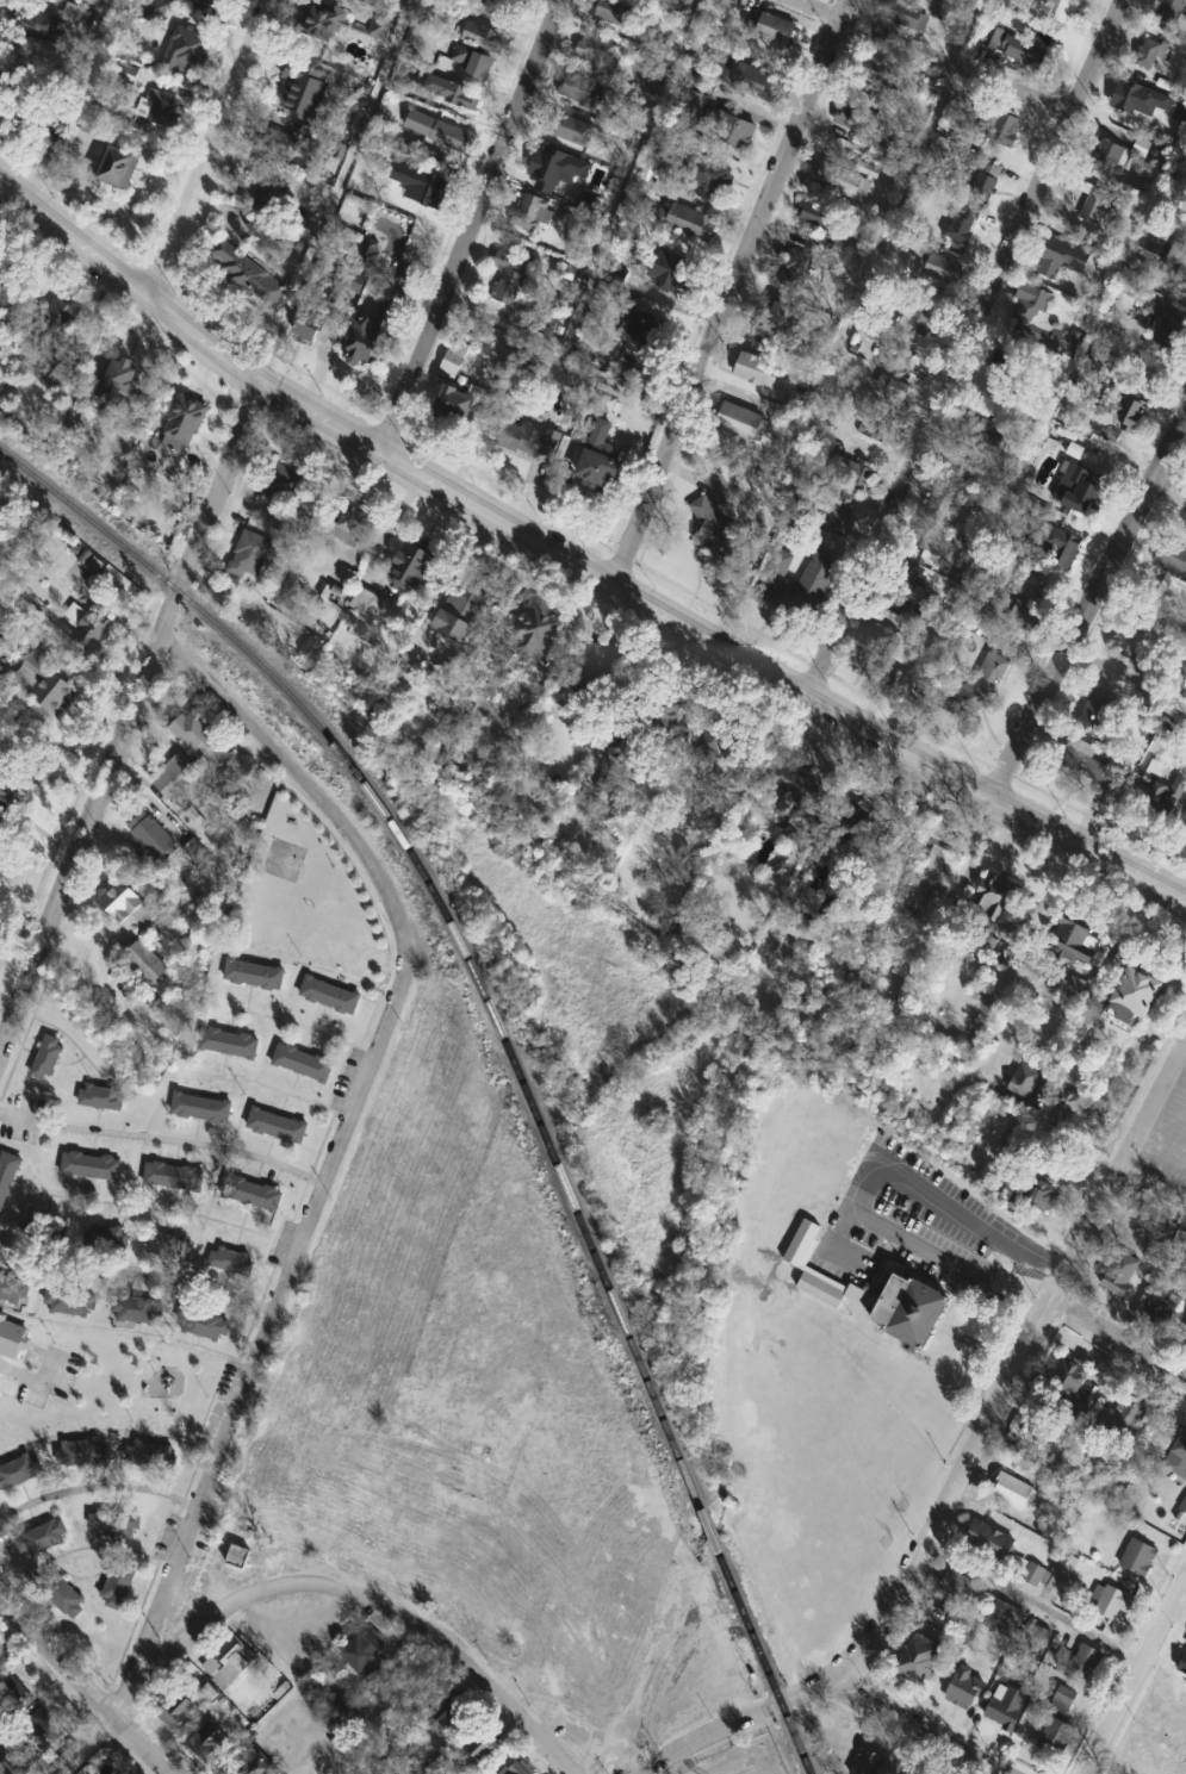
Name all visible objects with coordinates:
building: (735, 2)
building: (504, 5)
building: (211, 6)
building: (1172, 10)
building: (157, 11)
building: (1062, 11)
building: (613, 12)
building: (328, 23)
building: (48, 26)
building: (768, 33)
building: (484, 36)
building: (597, 50)
building: (190, 52)
road: (940, 52)
building: (1027, 54)
building: (1151, 54)
building: (472, 63)
building: (880, 73)
building: (753, 80)
building: (582, 91)
building: (453, 93)
building: (304, 94)
building: (1137, 97)
building: (166, 108)
building: (858, 119)
building: (725, 127)
building: (94, 129)
building: (570, 129)
building: (1005, 129)
building: (449, 136)
building: (275, 142)
road: (210, 148)
building: (1111, 156)
building: (1155, 157)
building: (120, 168)
building: (648, 174)
building: (708, 174)
building: (840, 180)
building: (257, 182)
road: (337, 187)
building: (1097, 204)
building: (536, 213)
building: (691, 222)
building: (820, 223)
road: (470, 224)
building: (1184, 225)
building: (1169, 255)
building: (1062, 259)
building: (797, 268)
building: (945, 268)
building: (249, 273)
building: (673, 273)
building: (511, 276)
building: (1185, 291)
road: (731, 292)
building: (1027, 309)
building: (783, 317)
building: (57, 322)
building: (383, 324)
building: (641, 326)
building: (1166, 326)
building: (312, 329)
road: (967, 349)
building: (457, 356)
building: (1012, 368)
building: (760, 371)
building: (126, 376)
building: (603, 393)
building: (460, 404)
building: (881, 409)
building: (1117, 413)
building: (743, 422)
building: (180, 429)
building: (982, 431)
building: (528, 438)
building: (601, 468)
building: (849, 469)
building: (167, 478)
building: (285, 483)
road: (1165, 487)
building: (1078, 491)
building: (940, 505)
building: (354, 521)
road: (758, 524)
building: (718, 527)
building: (930, 540)
building: (1057, 549)
building: (250, 556)
building: (1172, 556)
road: (578, 562)
building: (415, 565)
building: (774, 584)
road: (1080, 591)
building: (894, 593)
building: (370, 602)
building: (467, 605)
building: (1029, 615)
building: (92, 628)
building: (541, 634)
building: (878, 639)
building: (1129, 642)
road: (904, 661)
building: (601, 662)
road: (95, 665)
road: (1119, 672)
building: (50, 684)
building: (971, 687)
building: (1095, 711)
road: (133, 714)
building: (203, 739)
building: (719, 741)
building: (1086, 762)
building: (178, 777)
building: (794, 785)
road: (310, 786)
building: (1165, 796)
building: (8, 798)
building: (846, 820)
building: (151, 838)
building: (929, 888)
building: (996, 898)
building: (128, 905)
building: (1074, 941)
building: (148, 963)
building: (255, 975)
building: (1131, 991)
building: (331, 995)
railway: (507, 1040)
building: (229, 1042)
building: (49, 1057)
building: (304, 1063)
building: (101, 1097)
building: (201, 1108)
building: (278, 1126)
road: (163, 1138)
road: (1181, 1150)
road: (1161, 1151)
building: (92, 1166)
building: (174, 1176)
building: (7, 1177)
building: (254, 1194)
building: (1030, 1194)
building: (55, 1233)
building: (105, 1239)
building: (170, 1245)
parking lot: (886, 1245)
road: (936, 1256)
building: (231, 1261)
road: (138, 1270)
building: (1117, 1272)
building: (14, 1289)
building: (68, 1301)
building: (1157, 1302)
building: (908, 1307)
building: (136, 1309)
building: (205, 1325)
building: (1185, 1332)
building: (12, 1334)
road: (1120, 1334)
road: (30, 1371)
road: (248, 1377)
building: (1064, 1382)
building: (1120, 1417)
building: (83, 1452)
building: (153, 1455)
road: (965, 1457)
building: (1176, 1458)
building: (18, 1469)
road: (99, 1486)
building: (1012, 1489)
building: (1184, 1502)
building: (116, 1525)
building: (44, 1538)
building: (988, 1538)
building: (1137, 1555)
building: (240, 1556)
building: (1061, 1570)
building: (1032, 1571)
building: (957, 1582)
building: (119, 1585)
road: (354, 1589)
building: (66, 1596)
road: (1035, 1598)
building: (1110, 1598)
building: (934, 1611)
building: (1001, 1617)
building: (1035, 1639)
building: (367, 1656)
building: (1082, 1656)
building: (917, 1657)
building: (230, 1663)
building: (416, 1673)
road: (1136, 1679)
road: (87, 1685)
building: (962, 1686)
building: (1063, 1697)
building: (1007, 1704)
building: (178, 1707)
building: (30, 1710)
building: (449, 1712)
road: (921, 1728)
building: (1053, 1733)
building: (210, 1742)
road: (311, 1748)
building: (484, 1748)
building: (254, 1763)
building: (865, 1763)
building: (13, 1768)
building: (519, 1768)

